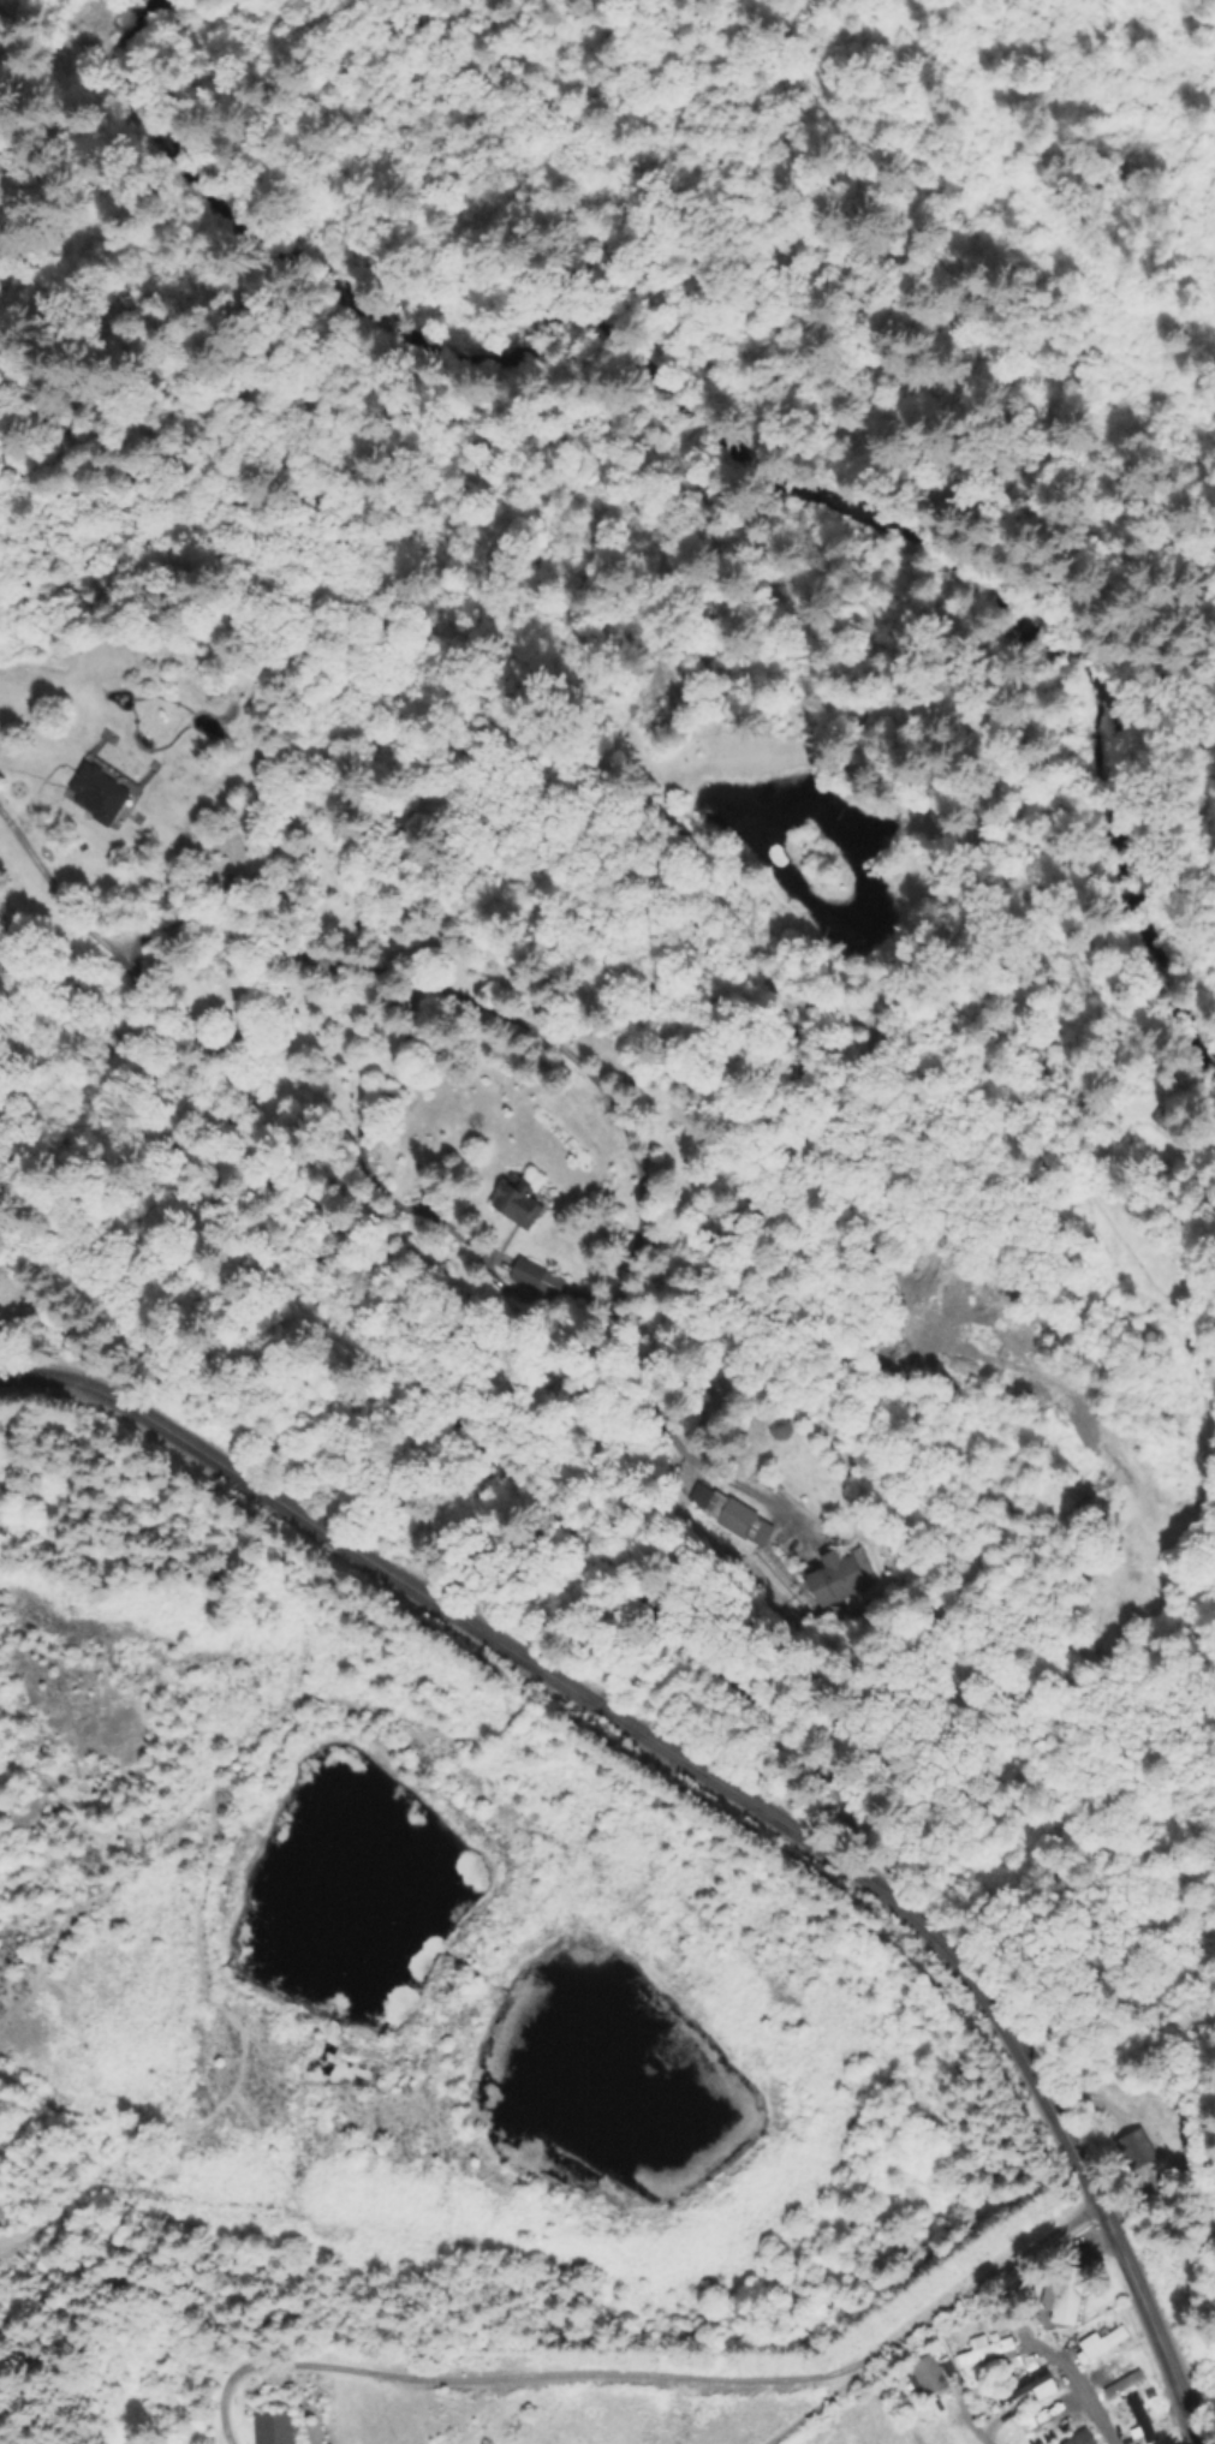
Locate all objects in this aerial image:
building: (35, 779)
road: (54, 890)
road: (480, 1009)
building: (1162, 1119)
road: (100, 1169)
building: (520, 1200)
building: (529, 1272)
building: (781, 1427)
building: (739, 1518)
building: (838, 1576)
building: (842, 1611)
road: (832, 1711)
road: (725, 1781)
building: (1133, 2152)
building: (1067, 2293)
building: (1098, 2344)
building: (991, 2350)
road: (653, 2373)
building: (930, 2376)
building: (1023, 2388)
road: (1083, 2397)
building: (275, 2427)
road: (972, 2427)
building: (1148, 2428)
building: (1080, 2439)
road: (1197, 2443)

